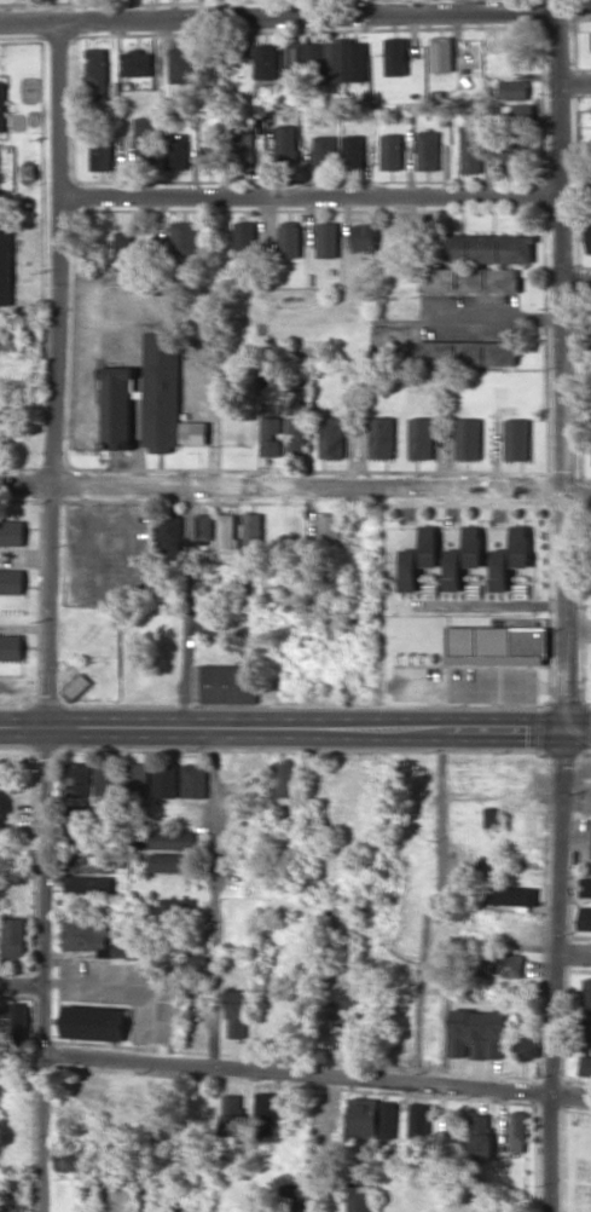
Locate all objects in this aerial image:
road: (419, 7)
road: (213, 8)
road: (274, 17)
building: (441, 53)
building: (395, 56)
building: (301, 59)
building: (266, 60)
building: (335, 60)
building: (355, 60)
building: (139, 63)
building: (181, 65)
building: (516, 65)
building: (213, 70)
building: (98, 74)
road: (570, 82)
building: (514, 90)
building: (1, 103)
building: (516, 114)
building: (147, 138)
building: (0, 143)
building: (285, 144)
building: (243, 145)
building: (470, 149)
building: (428, 150)
building: (176, 151)
building: (353, 151)
building: (392, 151)
building: (324, 152)
building: (102, 155)
building: (512, 156)
building: (210, 158)
road: (303, 198)
building: (589, 232)
building: (184, 237)
building: (364, 237)
building: (245, 238)
building: (289, 238)
building: (328, 239)
building: (124, 246)
building: (486, 248)
building: (5, 267)
building: (487, 279)
road: (570, 288)
building: (469, 352)
building: (145, 397)
building: (271, 426)
building: (296, 427)
building: (193, 432)
building: (332, 435)
building: (381, 437)
building: (421, 437)
building: (468, 438)
building: (517, 438)
road: (276, 491)
road: (570, 495)
building: (204, 526)
building: (226, 530)
building: (12, 532)
building: (329, 532)
building: (251, 535)
building: (169, 536)
building: (429, 546)
building: (474, 546)
building: (521, 546)
building: (409, 570)
building: (452, 570)
building: (500, 570)
building: (11, 581)
road: (551, 606)
road: (202, 610)
road: (440, 611)
road: (51, 616)
building: (209, 627)
building: (497, 645)
building: (11, 646)
building: (230, 682)
building: (77, 686)
road: (295, 729)
building: (105, 778)
building: (286, 778)
building: (77, 779)
building: (137, 780)
building: (166, 780)
building: (195, 780)
road: (358, 786)
building: (489, 816)
building: (80, 838)
building: (173, 839)
building: (170, 861)
building: (89, 862)
building: (89, 884)
building: (585, 887)
building: (512, 894)
road: (212, 898)
road: (430, 906)
building: (168, 910)
building: (585, 918)
building: (88, 935)
building: (13, 936)
road: (570, 951)
building: (187, 960)
building: (500, 963)
road: (21, 985)
building: (586, 992)
building: (344, 1005)
building: (522, 1008)
building: (238, 1012)
building: (94, 1022)
building: (15, 1023)
building: (586, 1031)
building: (477, 1033)
building: (526, 1046)
building: (585, 1066)
road: (318, 1077)
building: (265, 1113)
building: (232, 1118)
building: (372, 1118)
building: (419, 1120)
building: (518, 1131)
building: (481, 1137)
building: (69, 1158)
park: (579, 1160)
building: (12, 1196)
building: (359, 1196)
building: (295, 1197)
building: (147, 1201)

